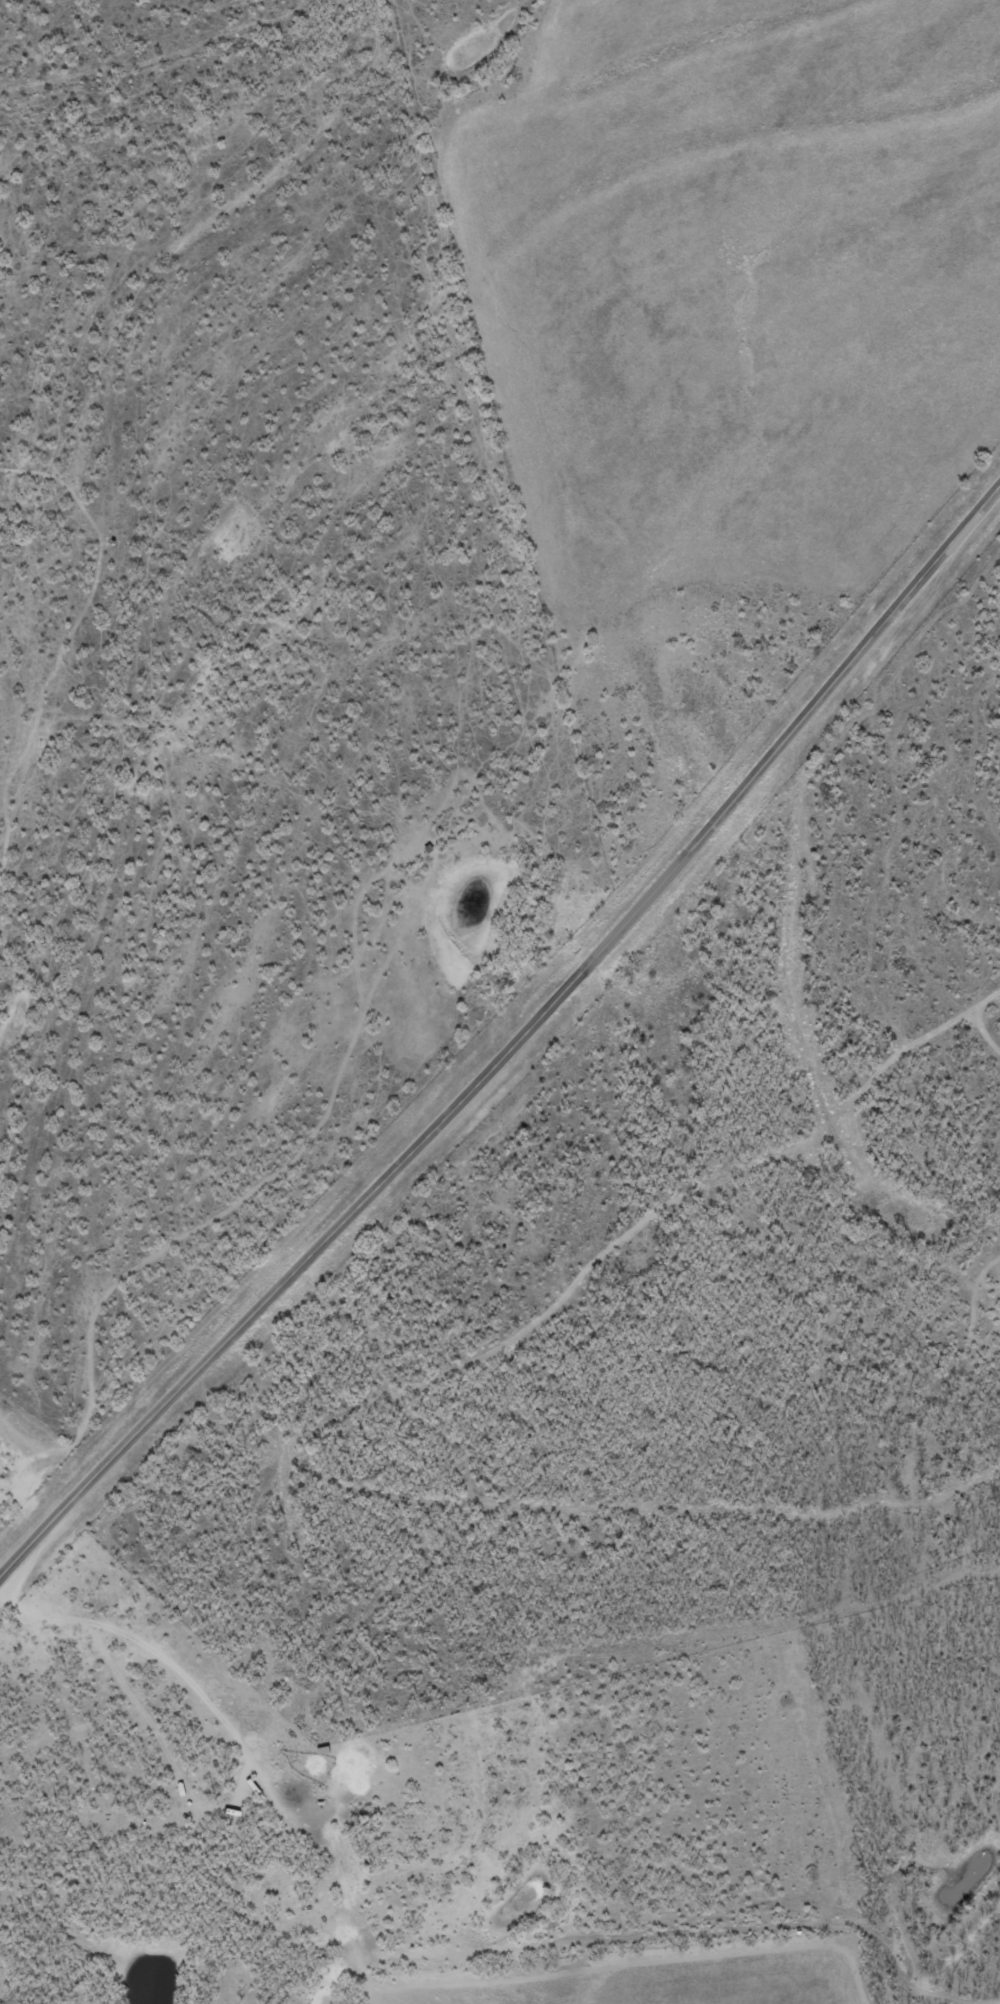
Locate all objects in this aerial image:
road: (59, 451)
road: (513, 1047)
road: (176, 1687)

